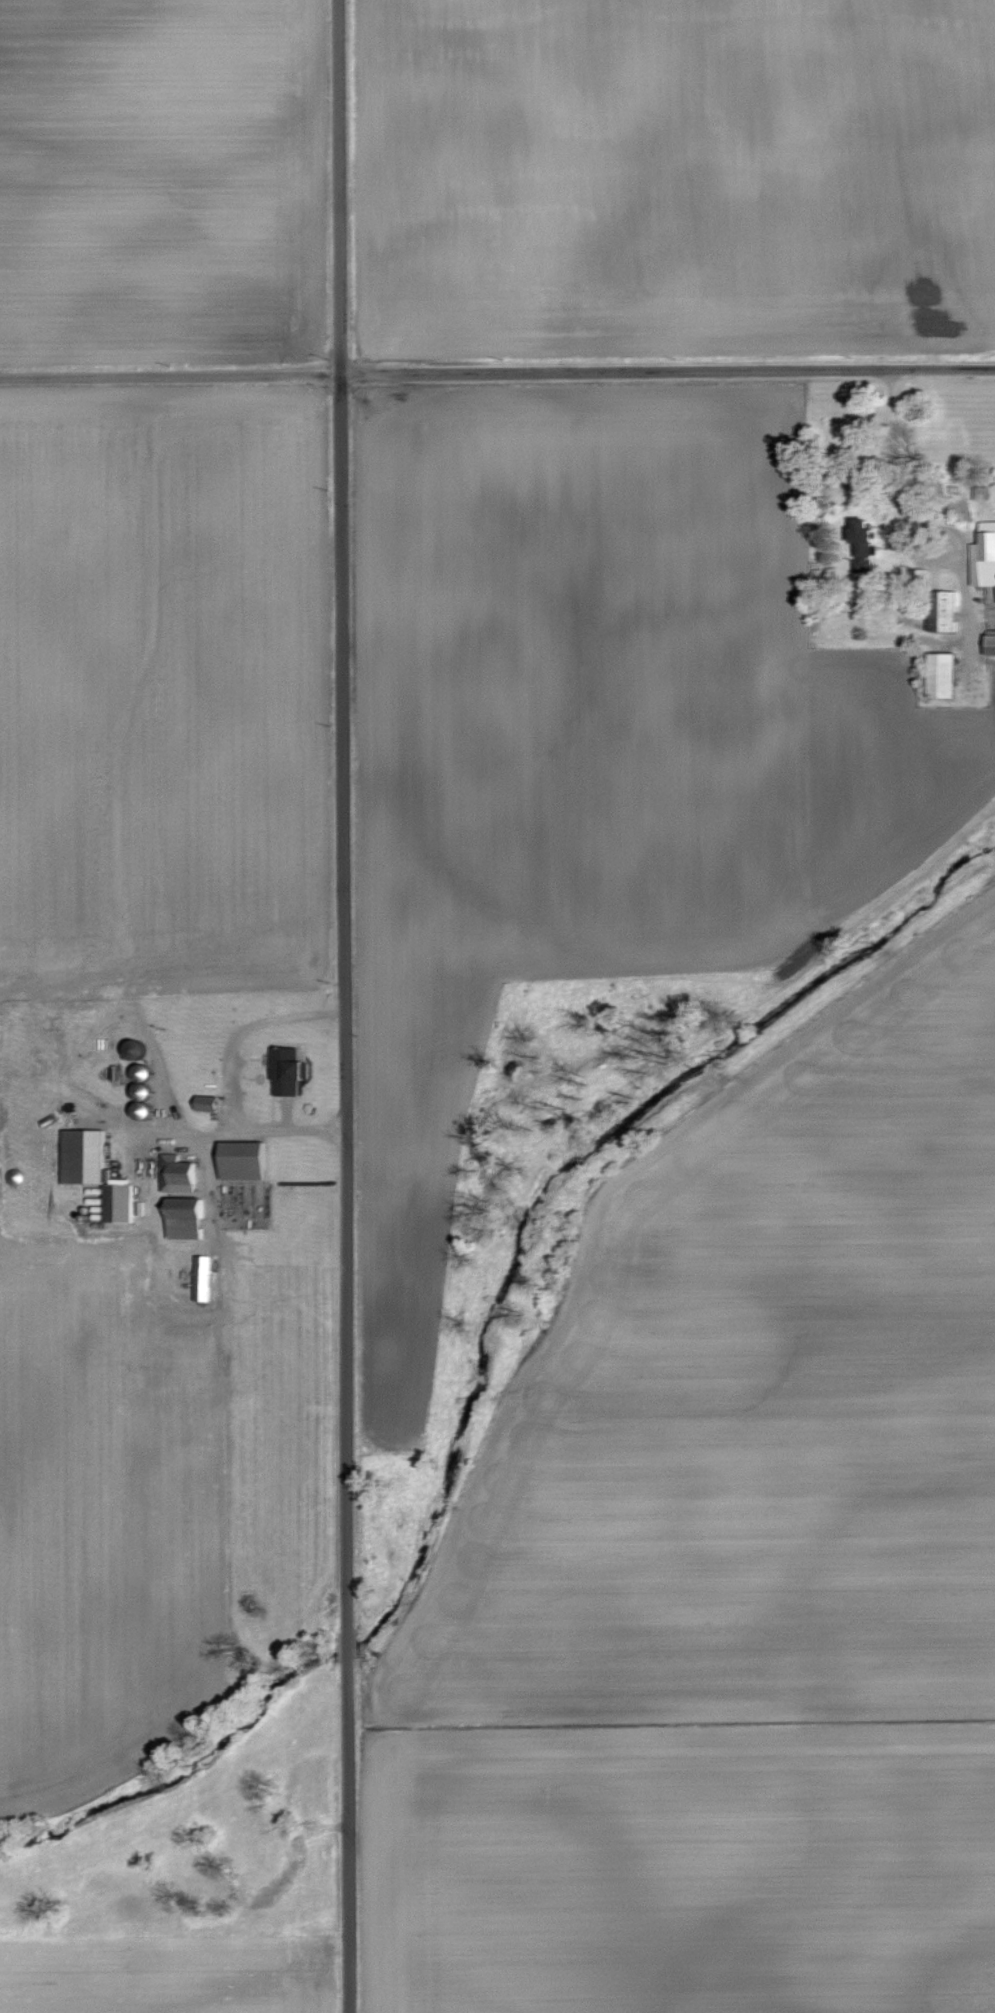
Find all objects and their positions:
road: (666, 368)
road: (169, 373)
building: (985, 493)
building: (871, 537)
building: (986, 558)
building: (948, 614)
building: (994, 644)
building: (947, 675)
road: (337, 1006)
building: (292, 1071)
building: (249, 1161)
building: (101, 1173)
building: (187, 1199)
building: (208, 1278)

